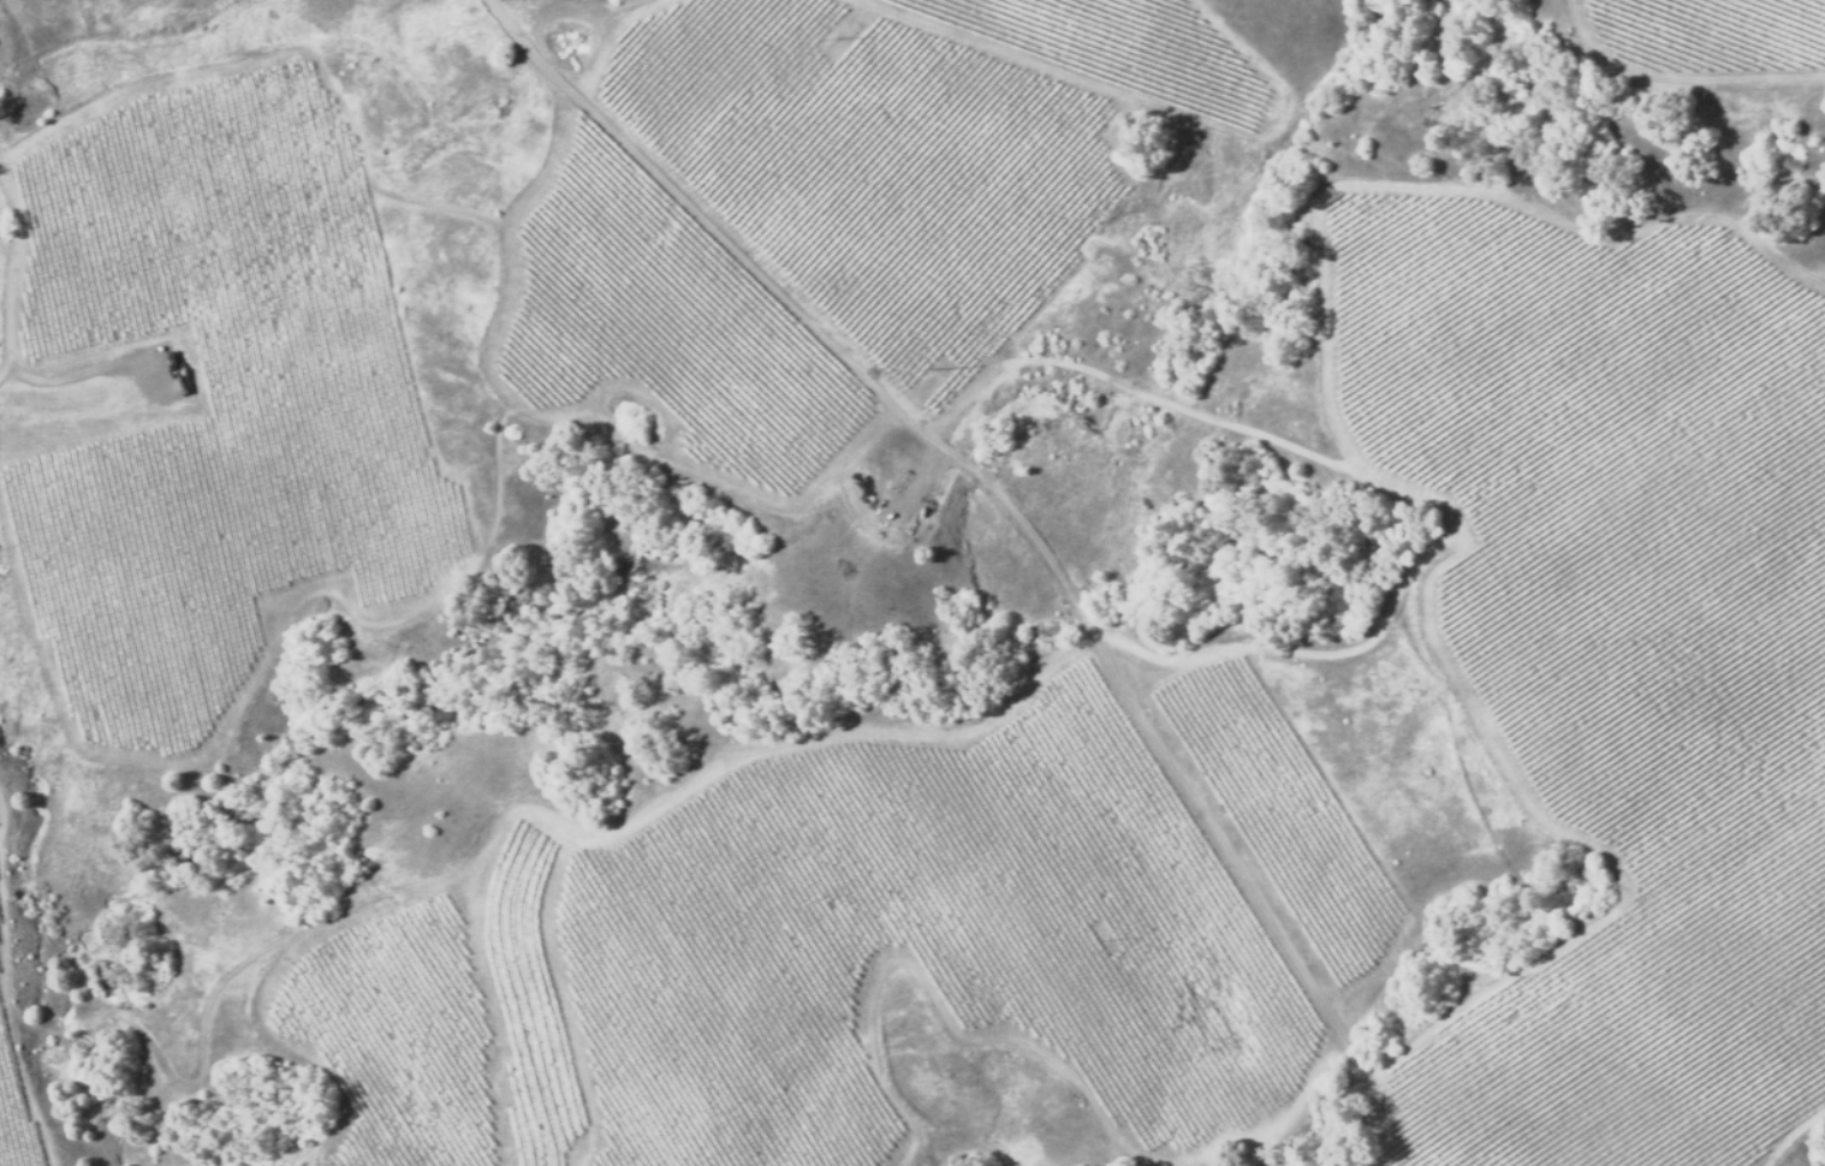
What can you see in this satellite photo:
road: (16, 272)

